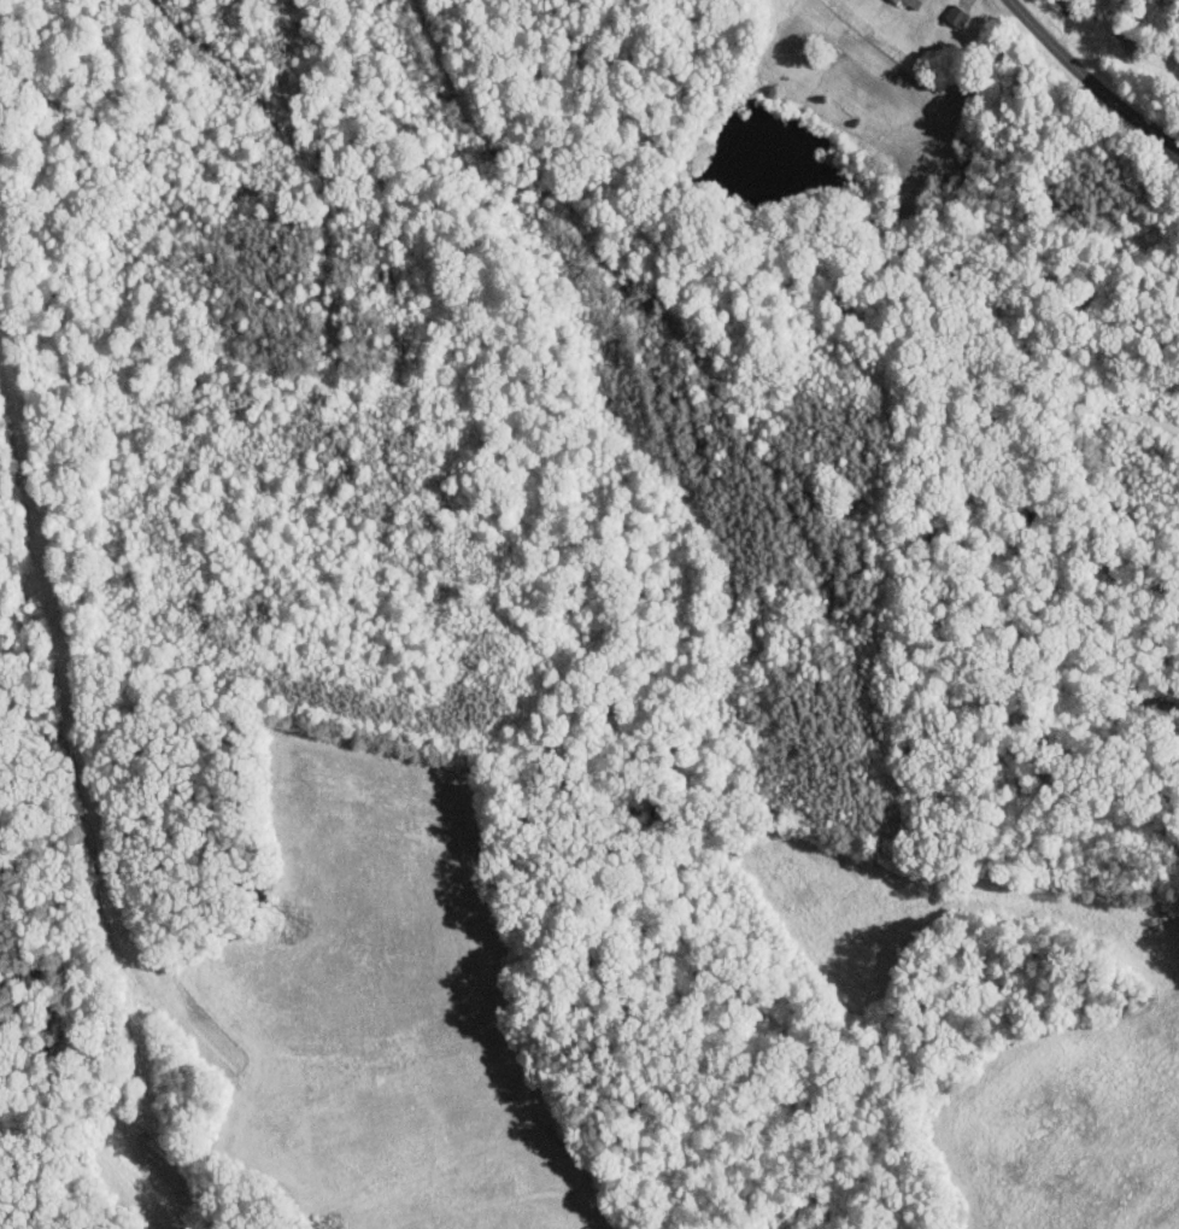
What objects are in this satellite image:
building: (911, 2)
road: (1089, 78)

